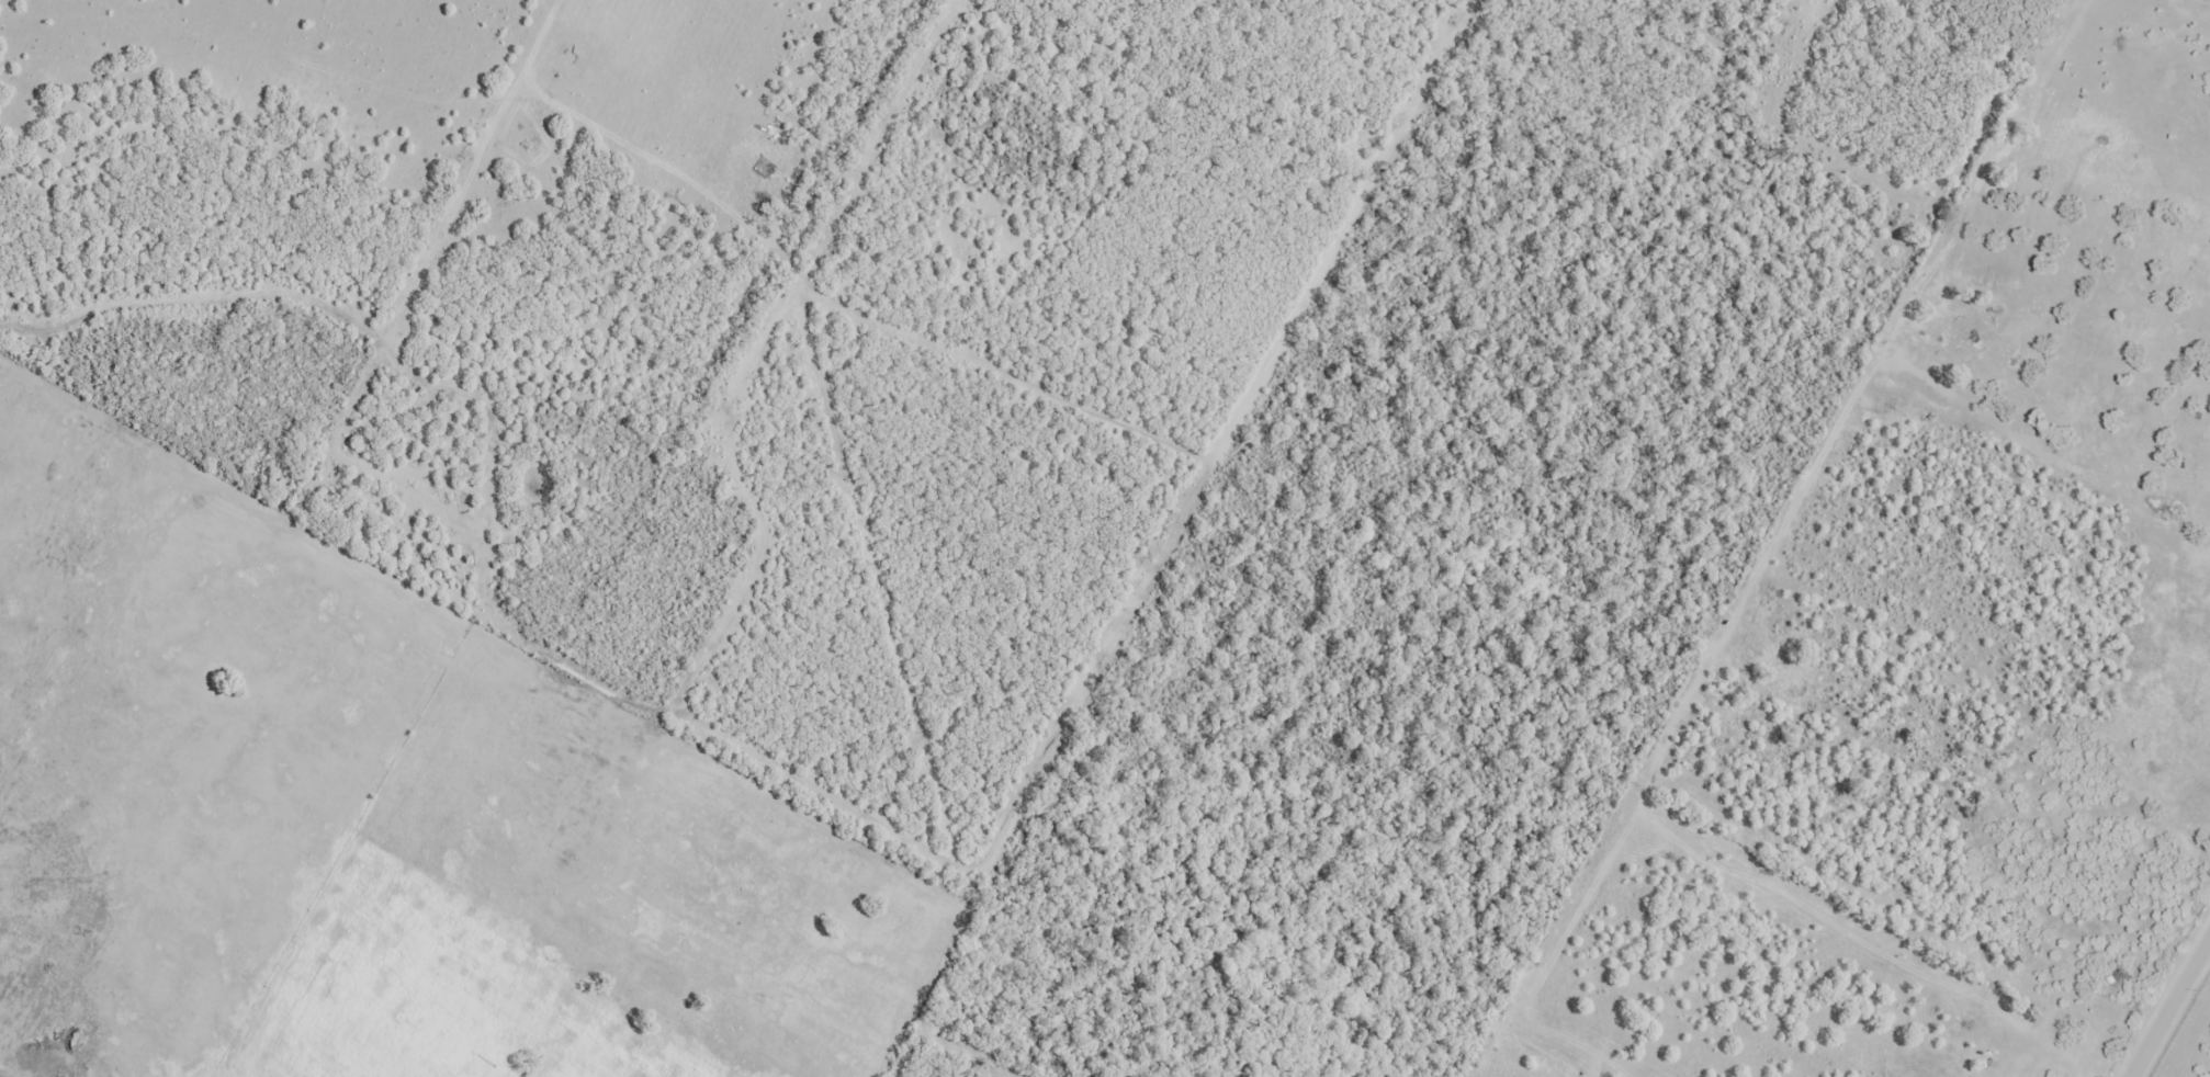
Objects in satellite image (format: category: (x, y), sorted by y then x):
building: (2123, 976)
road: (2172, 1009)

